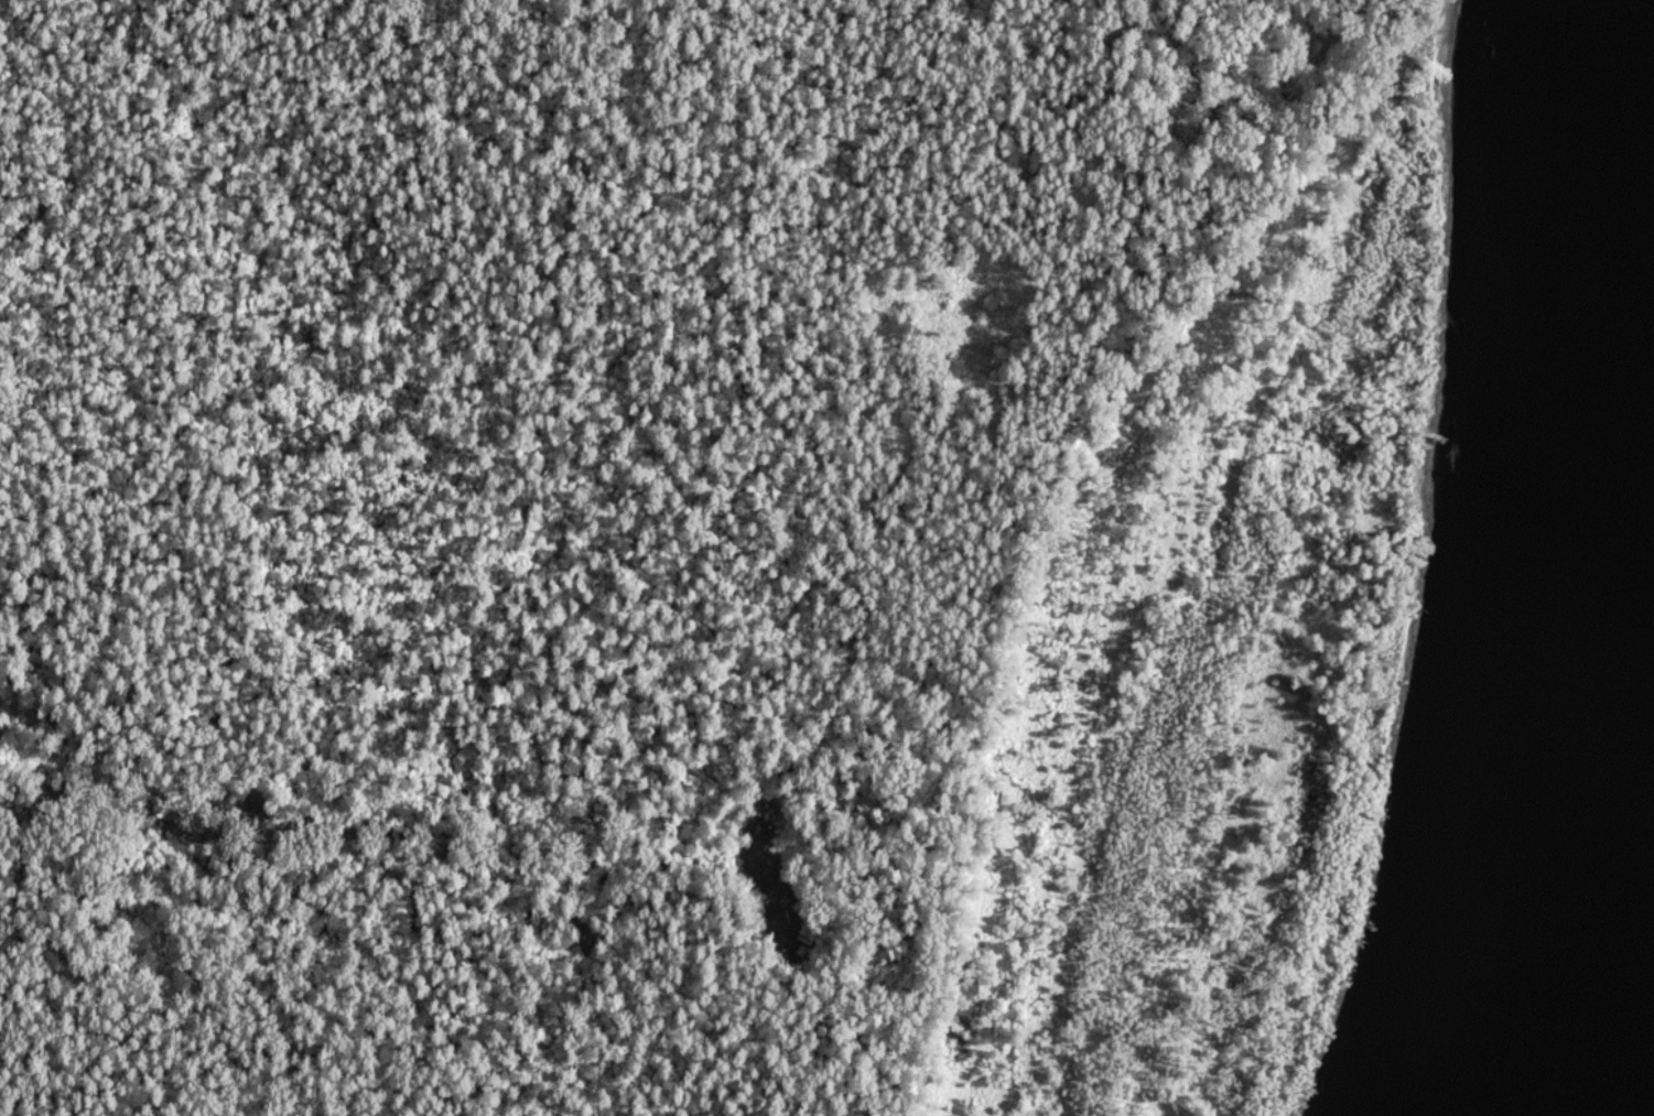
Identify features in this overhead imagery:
river: (1526, 864)

